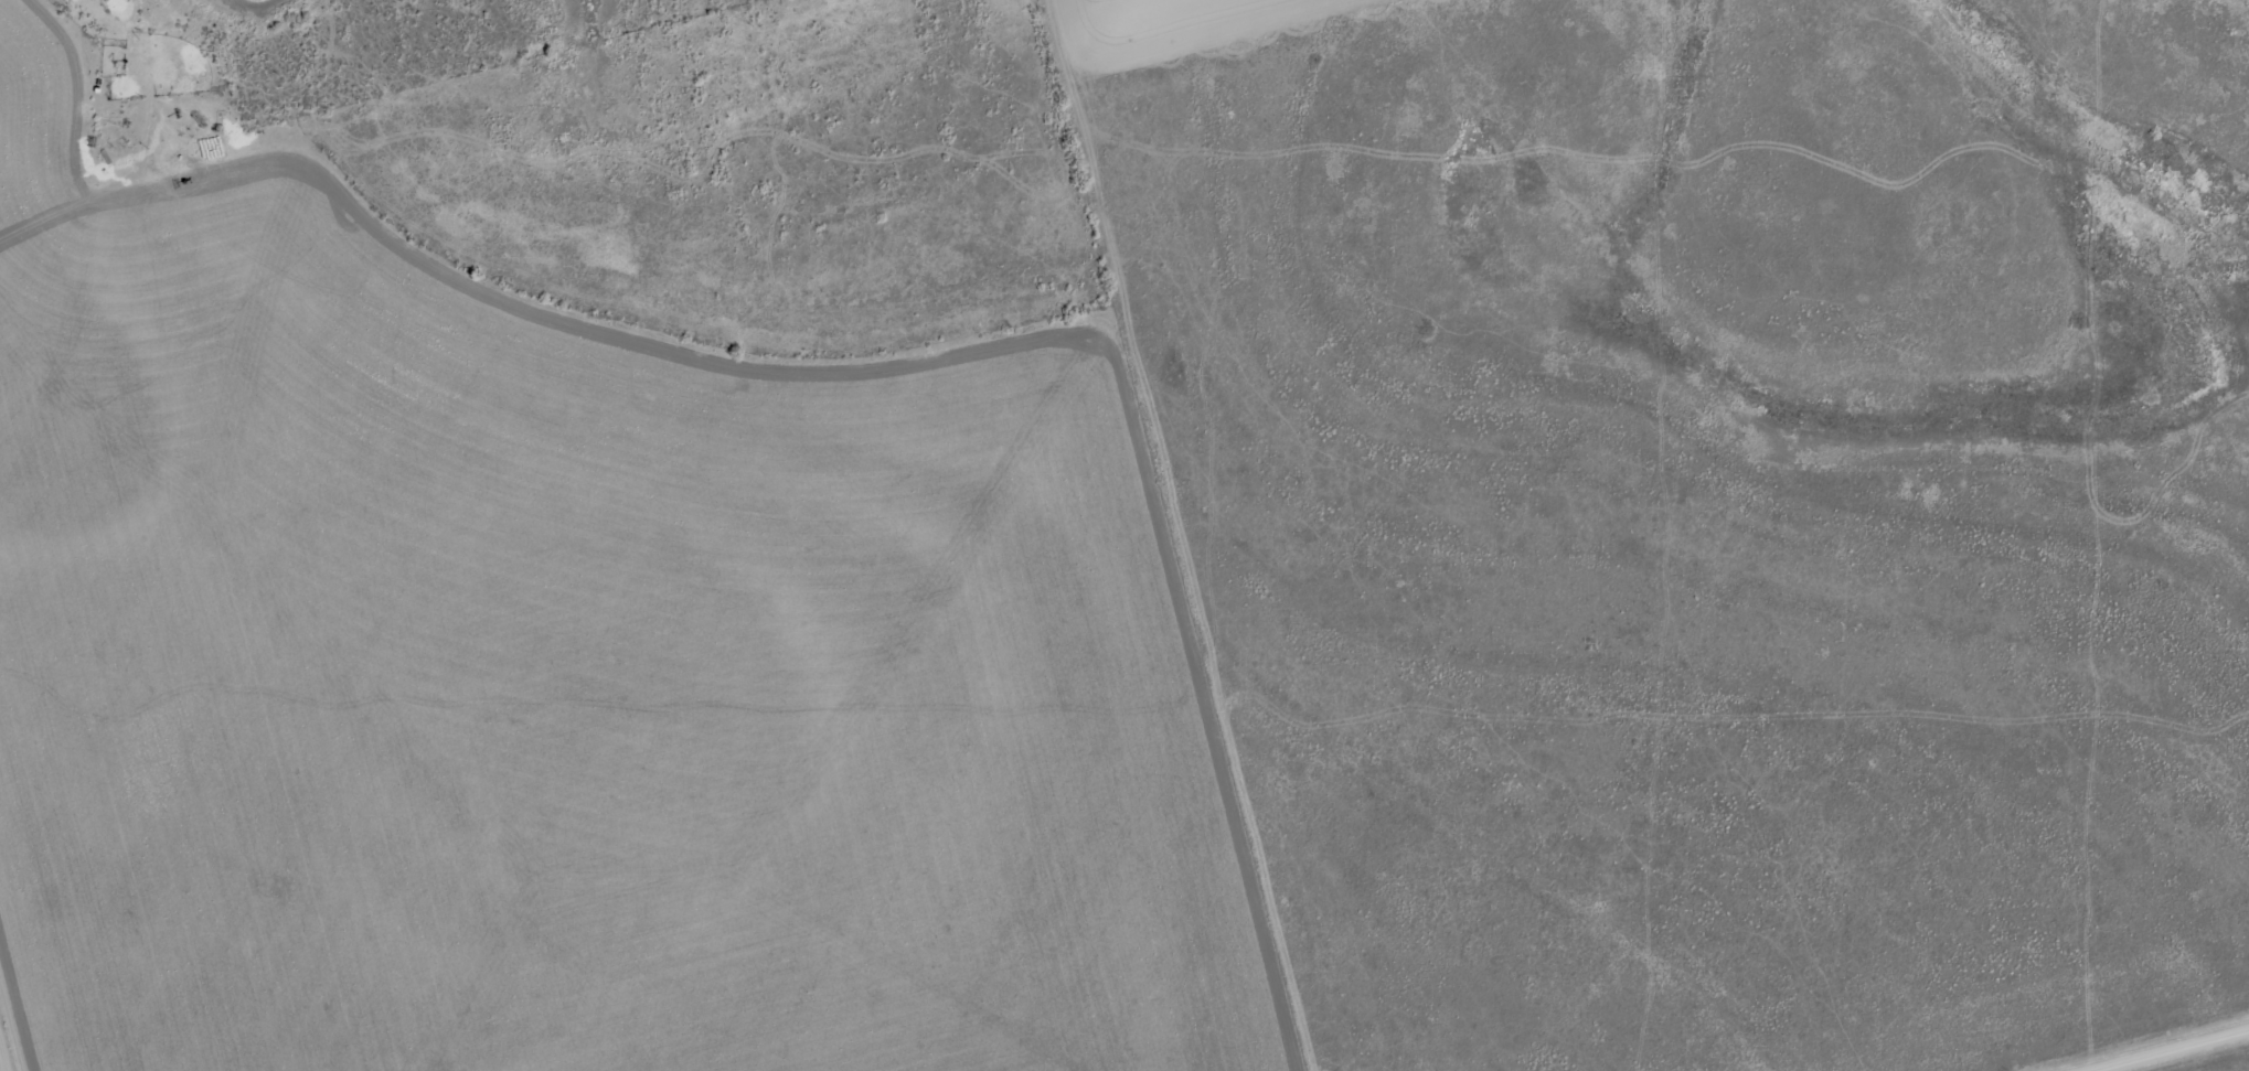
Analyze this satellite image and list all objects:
road: (73, 1)
road: (2122, 1038)

